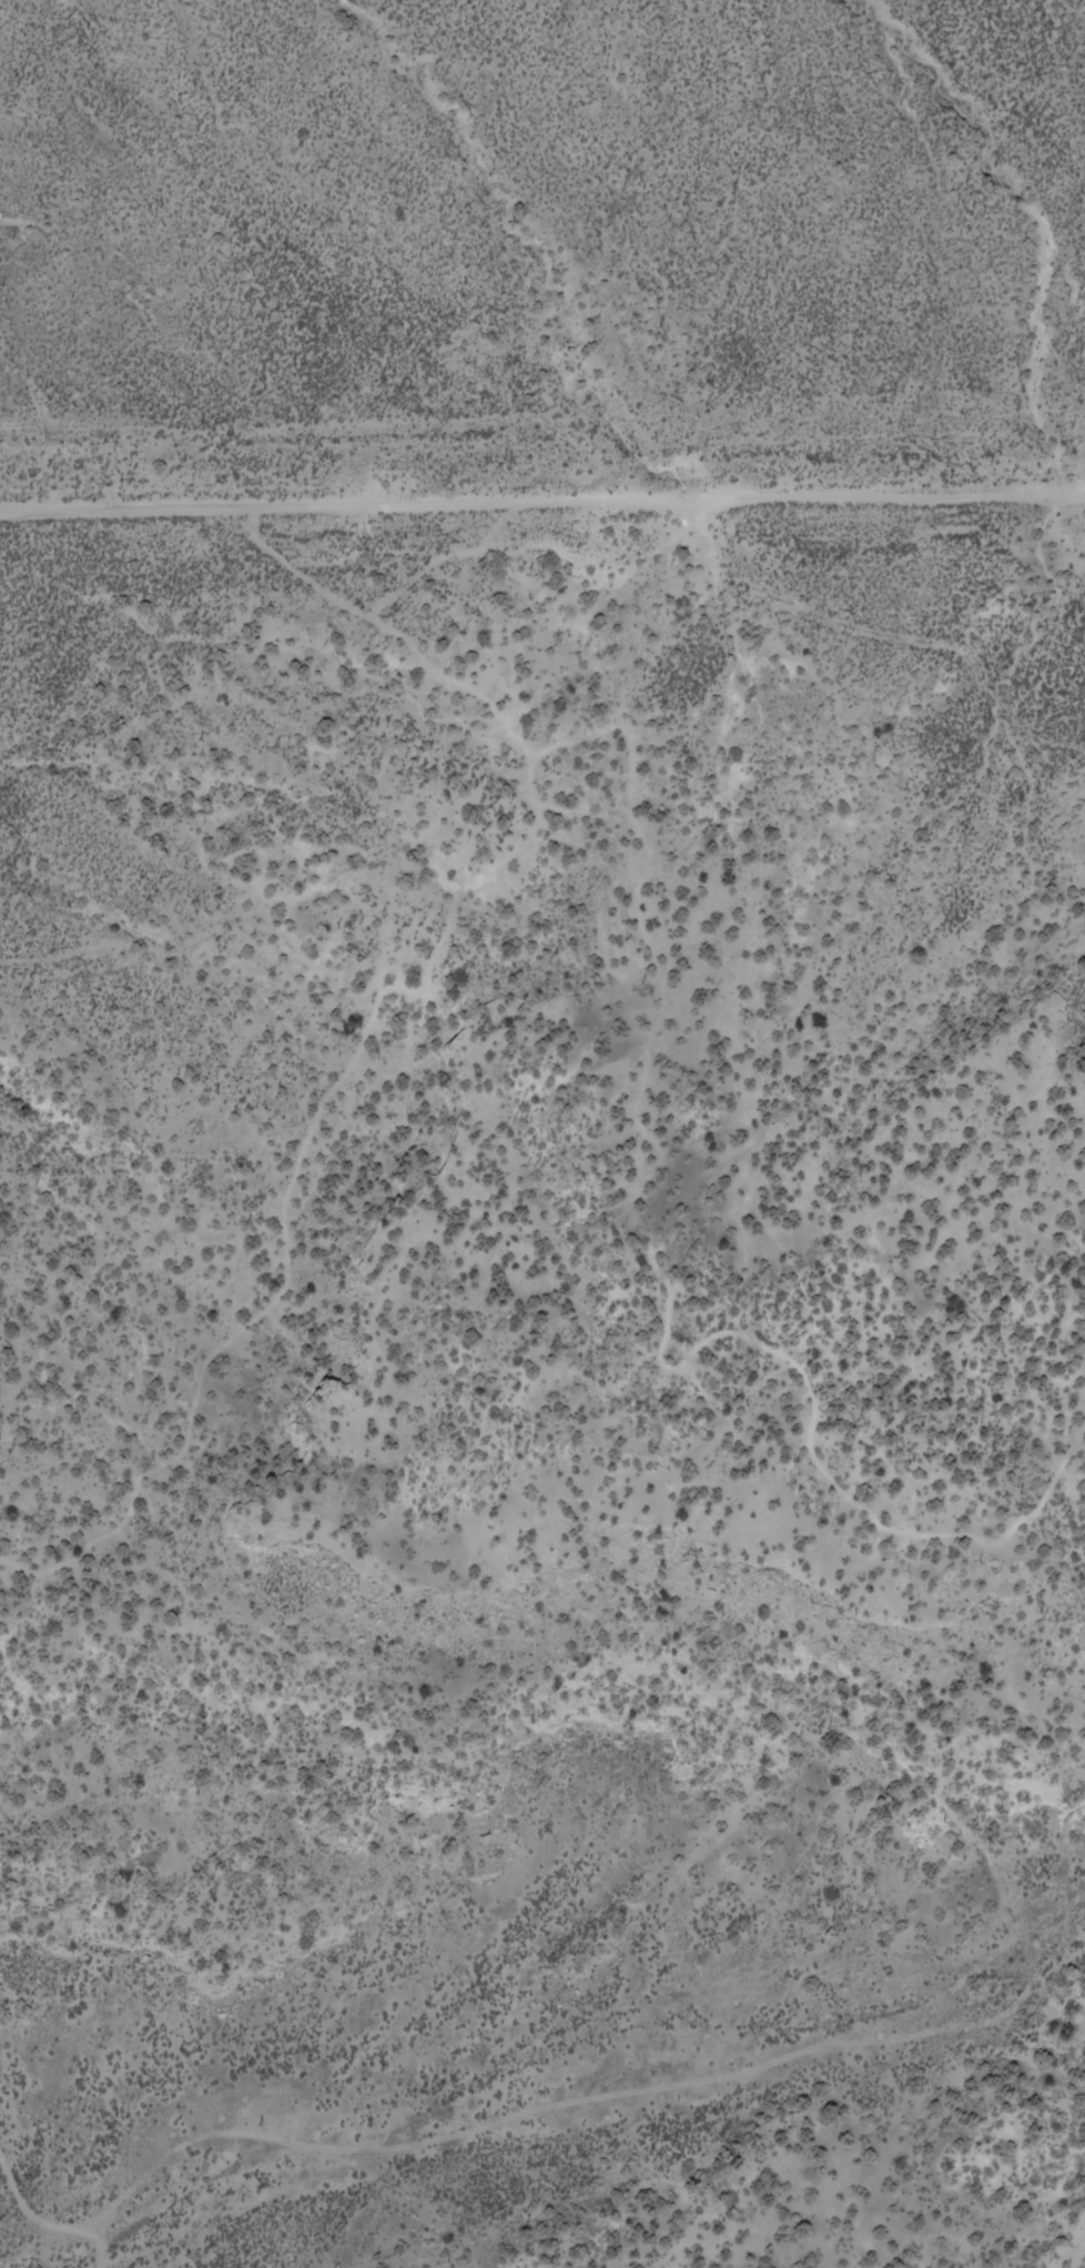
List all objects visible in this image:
road: (541, 502)

